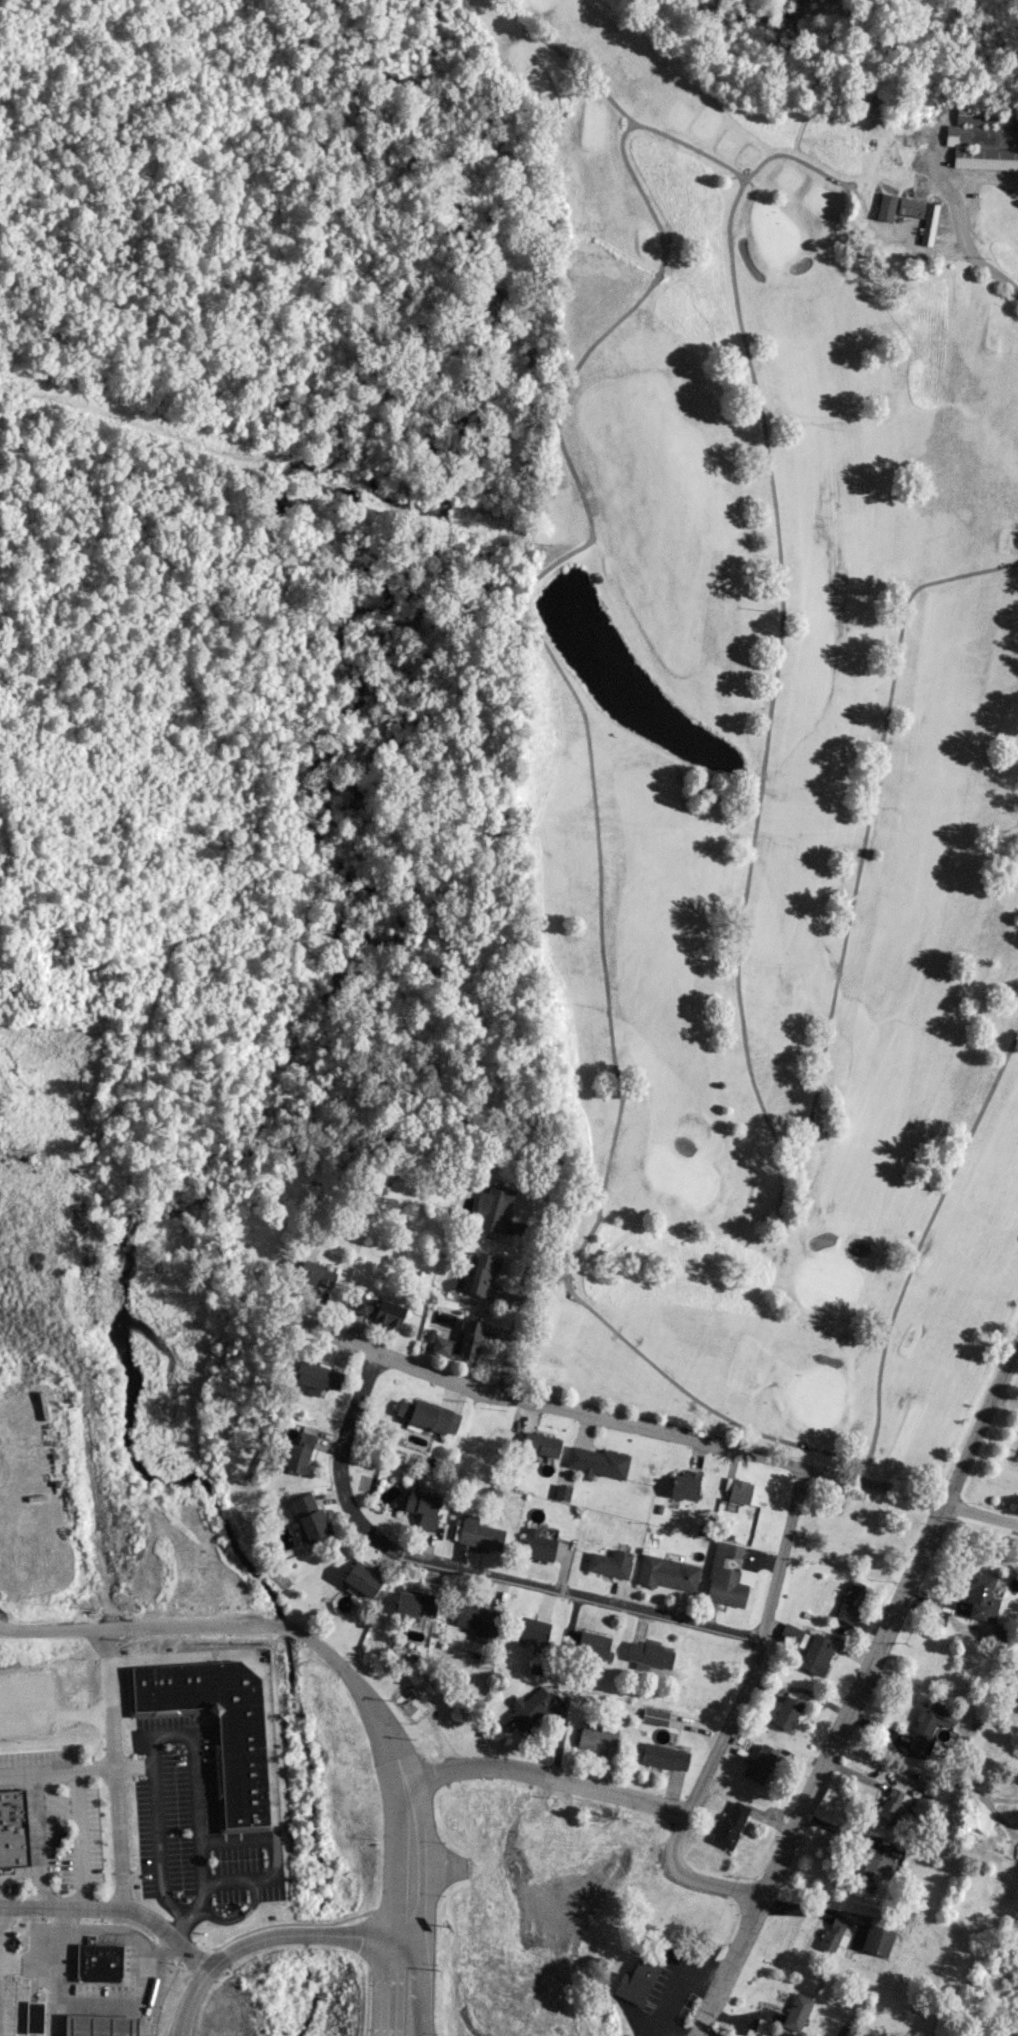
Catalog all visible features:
building: (984, 137)
building: (885, 207)
building: (920, 215)
road: (988, 267)
building: (493, 1208)
building: (482, 1273)
building: (315, 1274)
road: (520, 1302)
building: (378, 1310)
building: (470, 1338)
building: (444, 1346)
building: (316, 1377)
building: (429, 1415)
road: (981, 1424)
road: (647, 1430)
building: (541, 1443)
building: (597, 1462)
building: (685, 1485)
building: (738, 1489)
building: (562, 1491)
building: (421, 1507)
building: (308, 1518)
building: (480, 1534)
building: (538, 1545)
building: (610, 1563)
road: (467, 1570)
building: (668, 1573)
building: (727, 1576)
building: (360, 1579)
building: (982, 1596)
building: (849, 1602)
building: (416, 1604)
building: (478, 1619)
road: (148, 1628)
building: (532, 1629)
building: (790, 1633)
building: (593, 1644)
building: (649, 1653)
building: (816, 1654)
road: (361, 1691)
building: (528, 1707)
building: (786, 1713)
building: (655, 1716)
road: (732, 1717)
building: (216, 1734)
road: (157, 1737)
building: (596, 1737)
building: (664, 1756)
building: (761, 1763)
road: (132, 1765)
road: (56, 1768)
road: (114, 1769)
road: (821, 1771)
road: (543, 1779)
building: (892, 1809)
building: (729, 1825)
building: (12, 1828)
road: (79, 1837)
road: (36, 1838)
road: (408, 1854)
building: (872, 1865)
road: (61, 1908)
road: (812, 1910)
road: (168, 1934)
building: (831, 1934)
road: (265, 1938)
building: (878, 1940)
building: (99, 1962)
road: (57, 1964)
building: (636, 1980)
road: (678, 1983)
road: (391, 1984)
road: (418, 1984)
road: (150, 1985)
road: (56, 2000)
road: (99, 2002)
building: (797, 2012)
building: (34, 2017)
building: (100, 2025)

